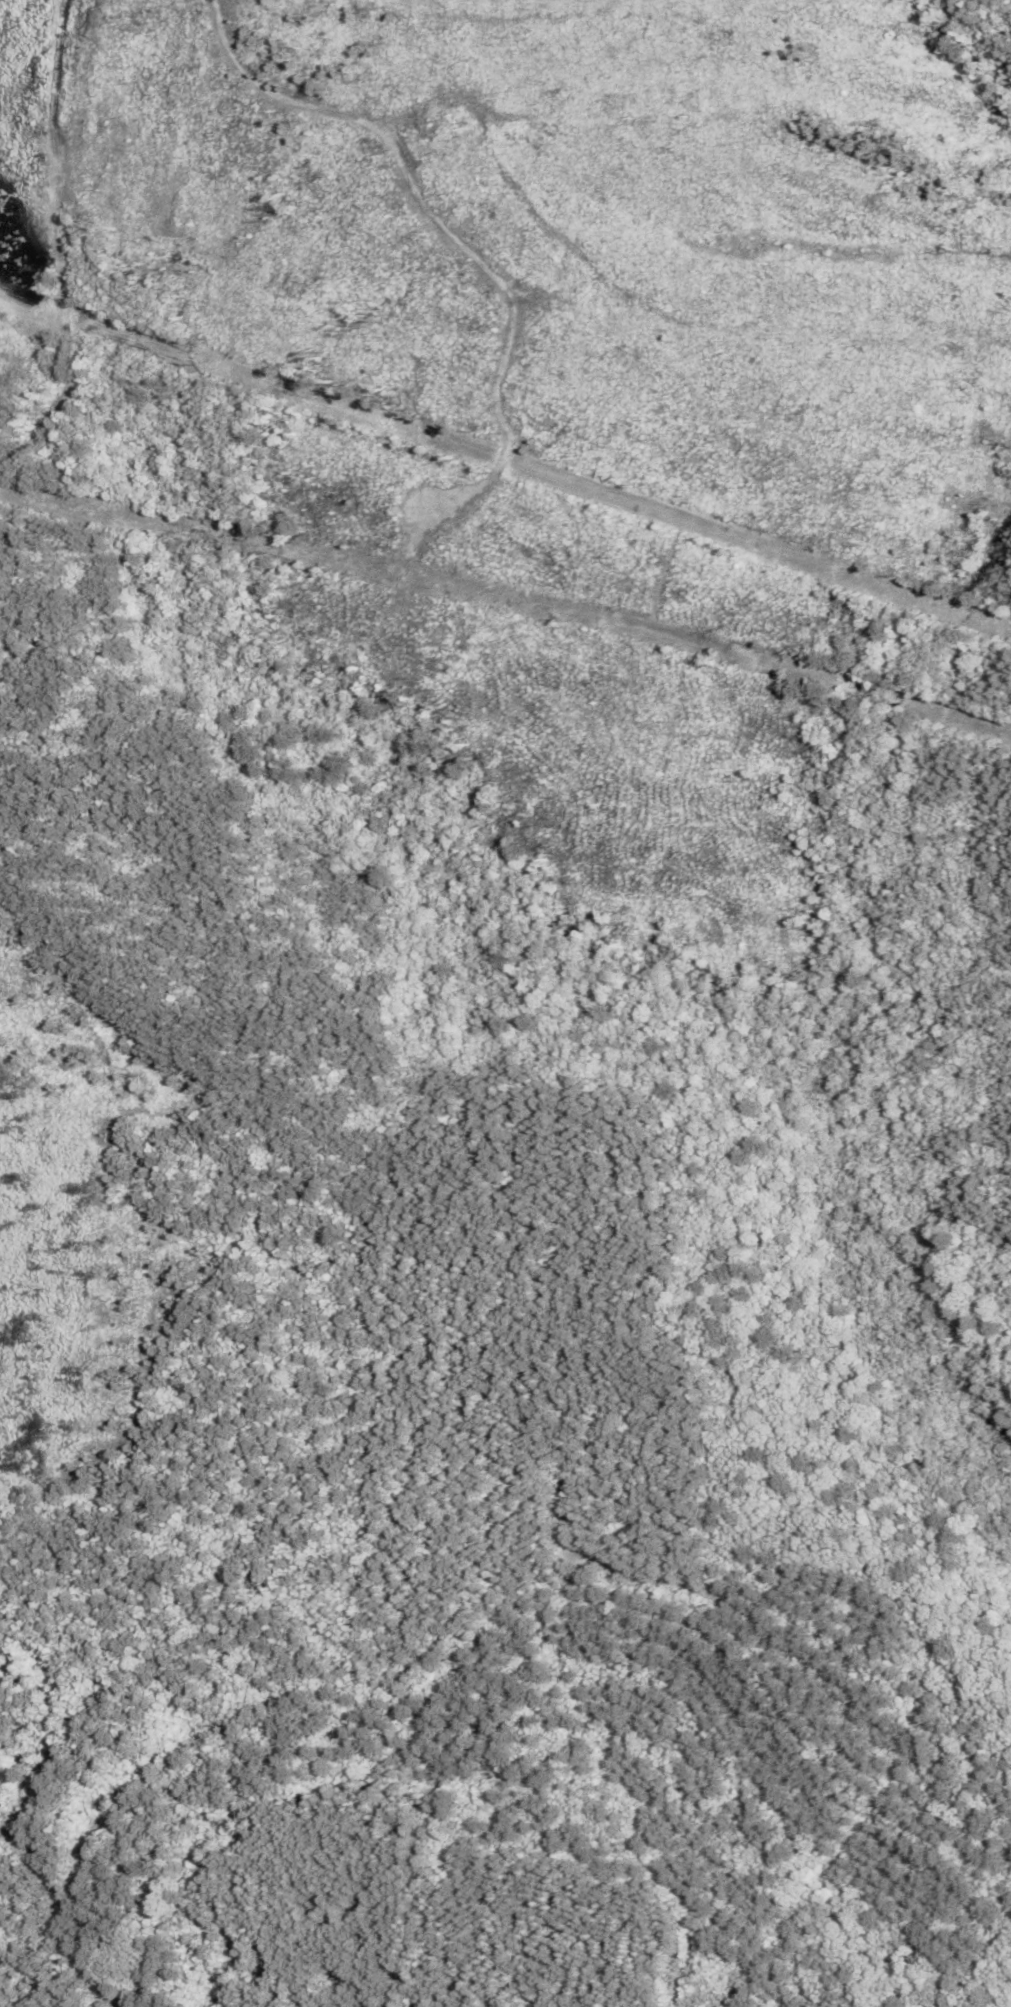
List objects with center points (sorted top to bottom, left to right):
road: (59, 252)
road: (68, 1915)

